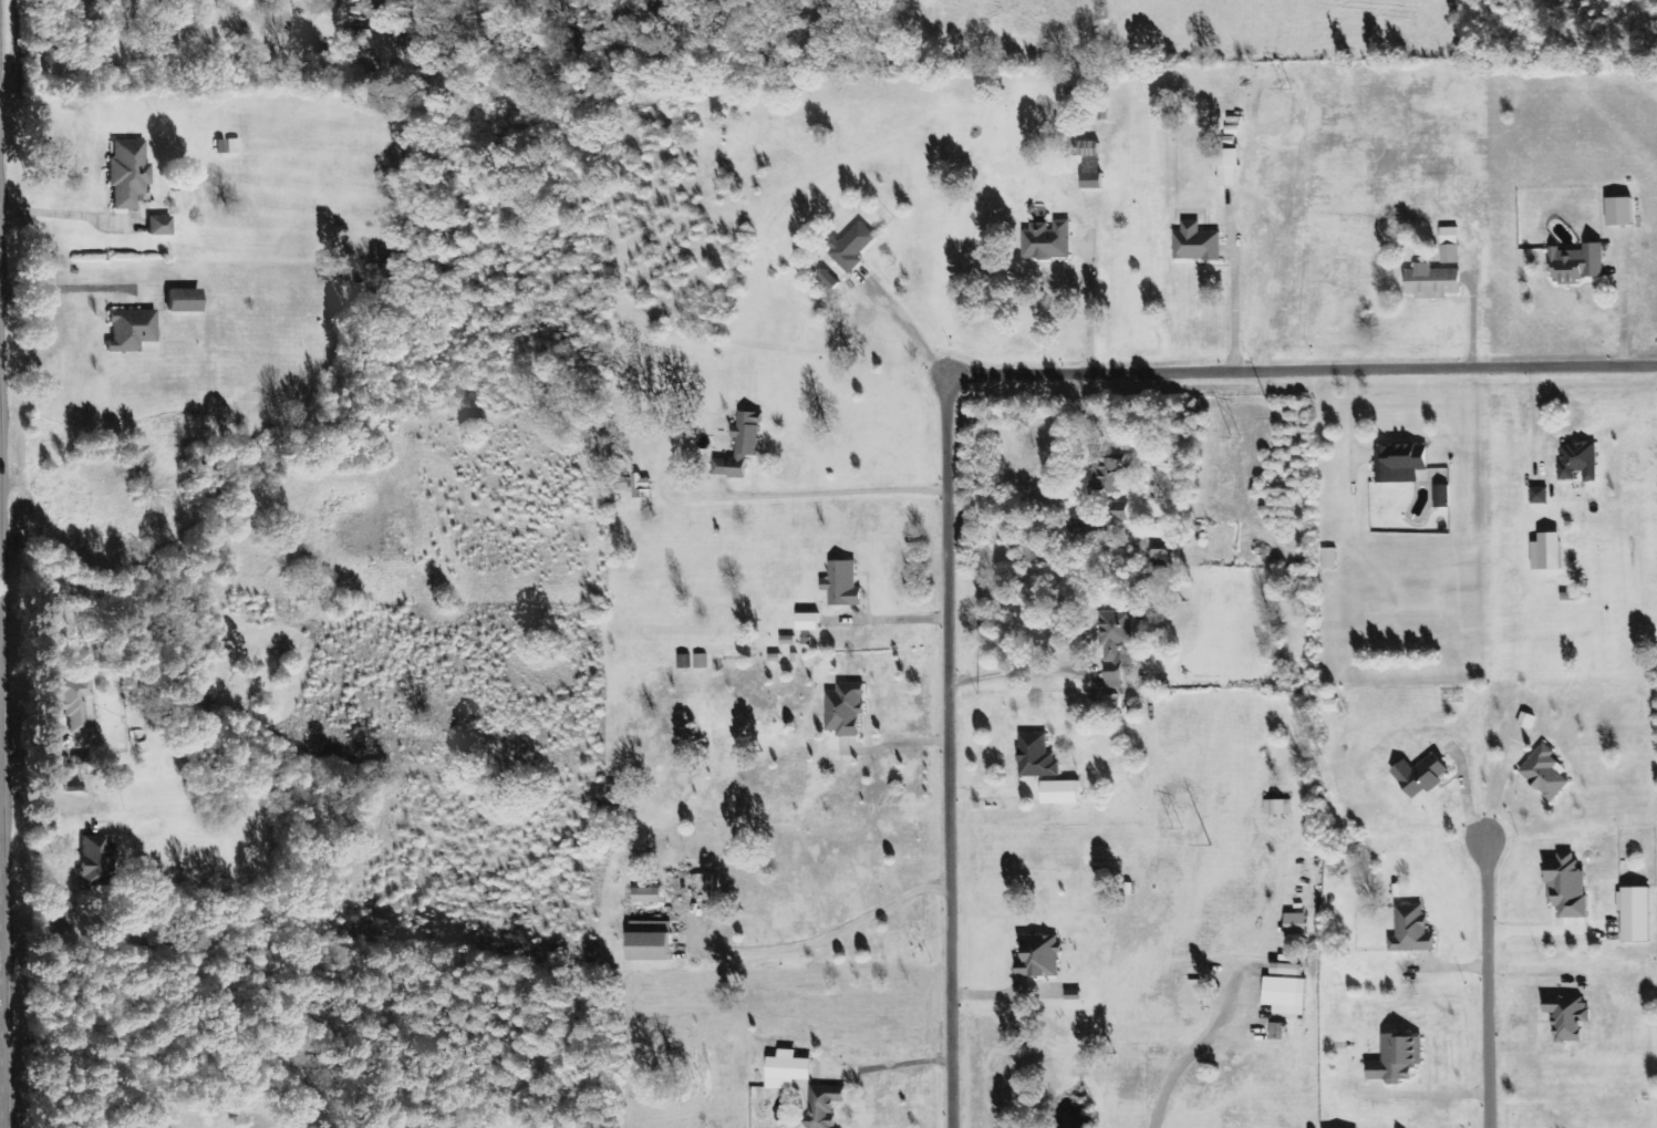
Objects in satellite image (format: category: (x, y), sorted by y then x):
building: (374, 29)
building: (225, 146)
building: (1086, 149)
building: (1226, 168)
building: (125, 174)
building: (1090, 174)
building: (1618, 211)
building: (156, 226)
building: (1046, 241)
building: (1195, 244)
building: (851, 247)
building: (1448, 248)
building: (1575, 265)
building: (828, 280)
building: (1431, 282)
building: (179, 300)
building: (127, 330)
road: (960, 411)
building: (741, 446)
building: (1577, 460)
building: (1399, 463)
building: (1109, 476)
building: (622, 483)
building: (641, 487)
building: (1537, 495)
building: (1441, 496)
building: (1118, 511)
building: (1161, 531)
building: (1328, 559)
building: (841, 584)
building: (807, 622)
building: (1115, 643)
building: (700, 661)
building: (682, 662)
building: (1111, 702)
building: (73, 704)
building: (1035, 757)
building: (1544, 773)
building: (1418, 775)
building: (1276, 807)
building: (91, 859)
building: (1566, 886)
building: (646, 896)
building: (1634, 914)
building: (1294, 924)
building: (1410, 931)
building: (1037, 956)
building: (1285, 970)
road: (1500, 992)
building: (1566, 1017)
building: (1396, 1059)
building: (786, 1070)
building: (821, 1107)

